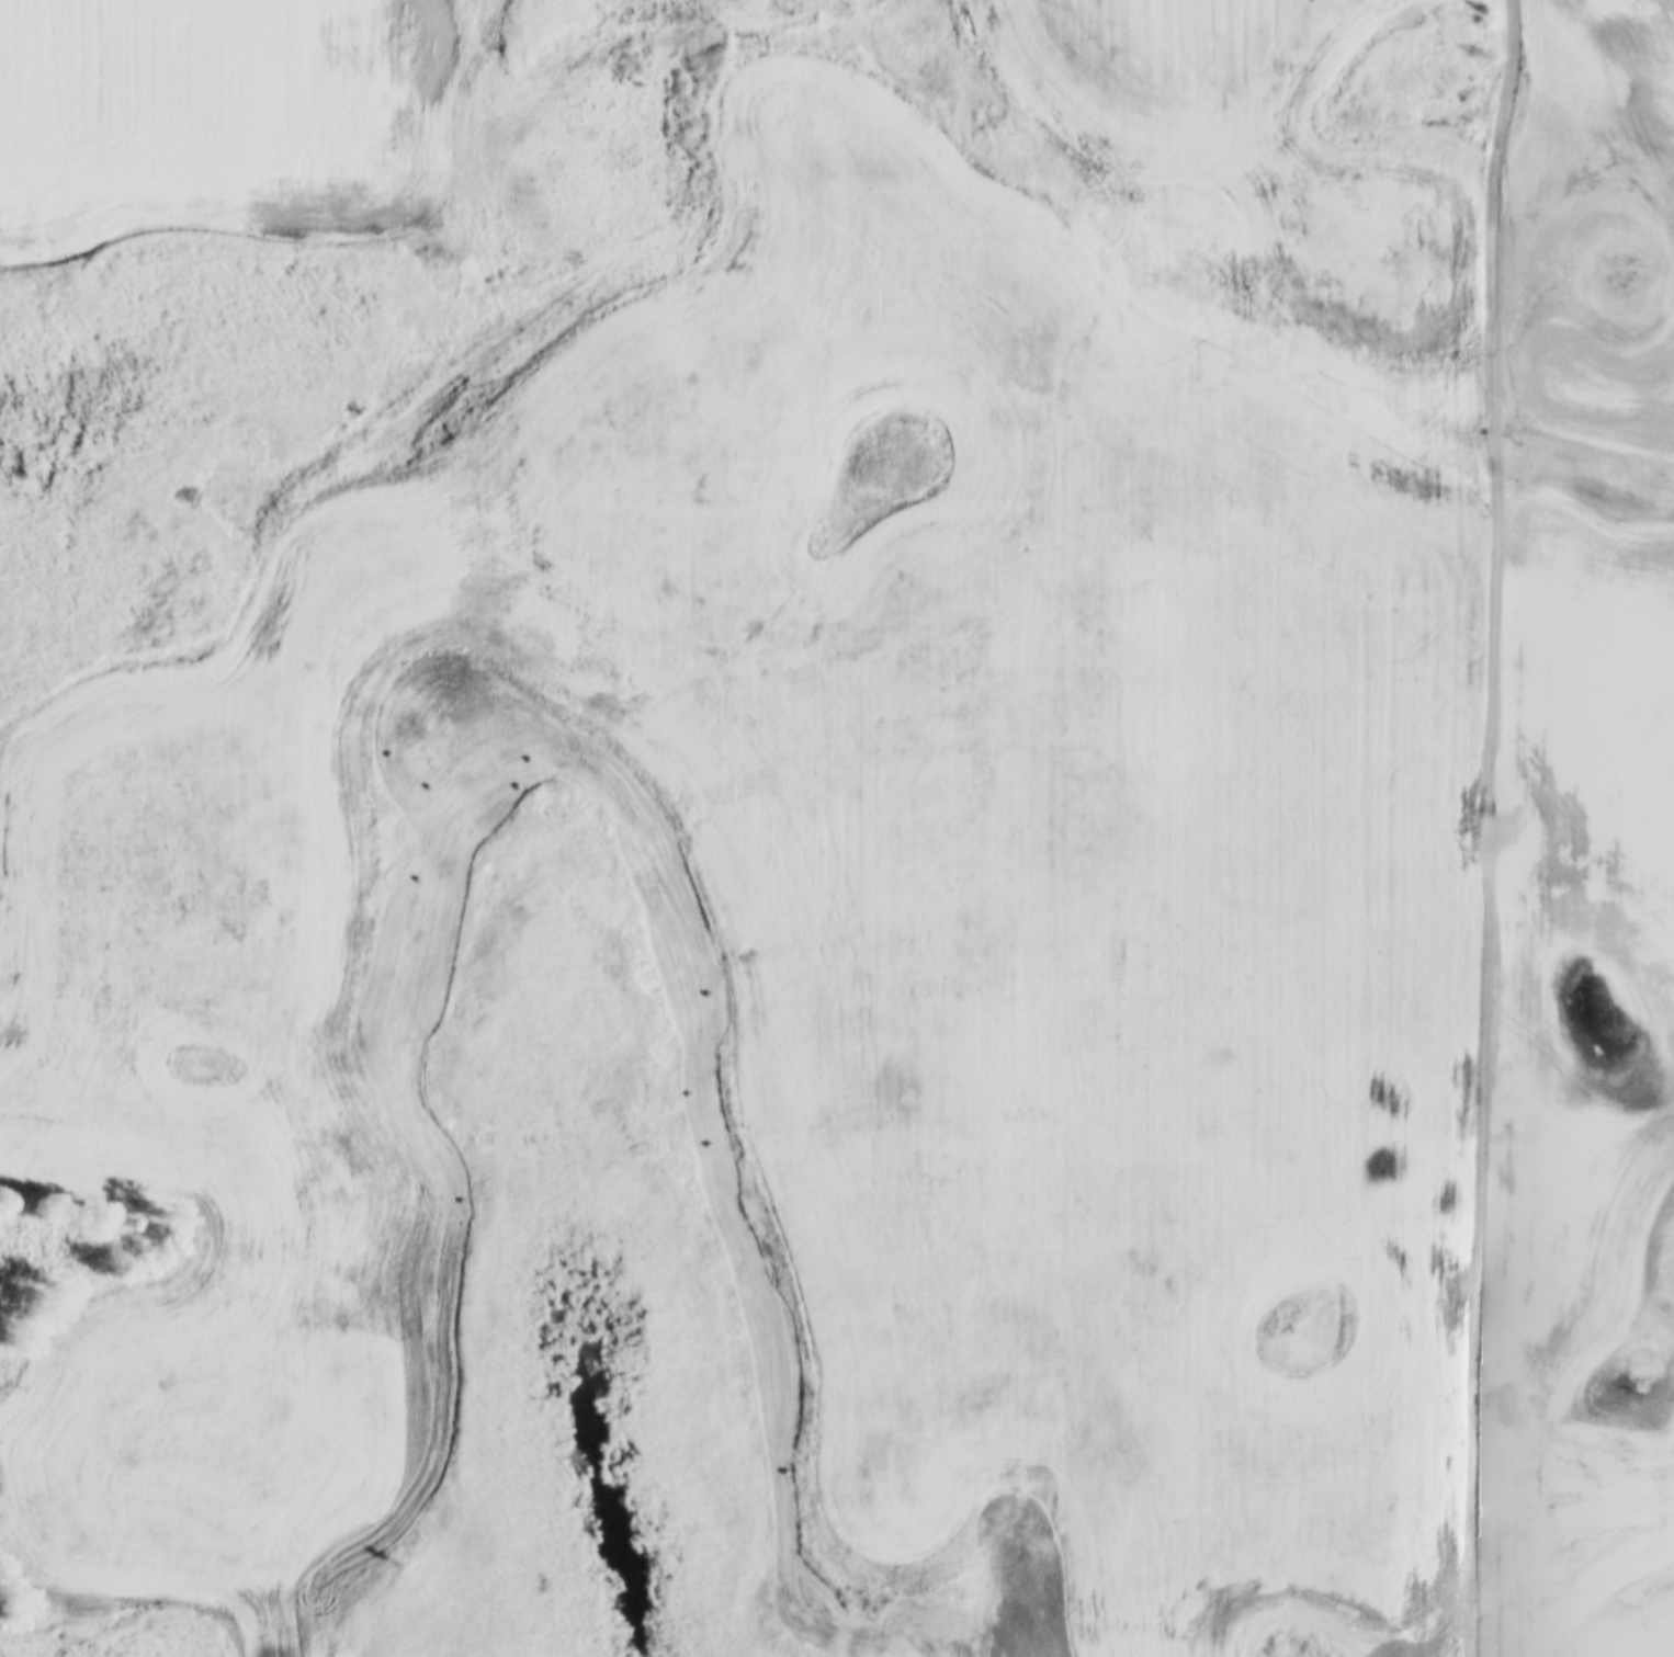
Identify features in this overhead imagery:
road: (1494, 820)

